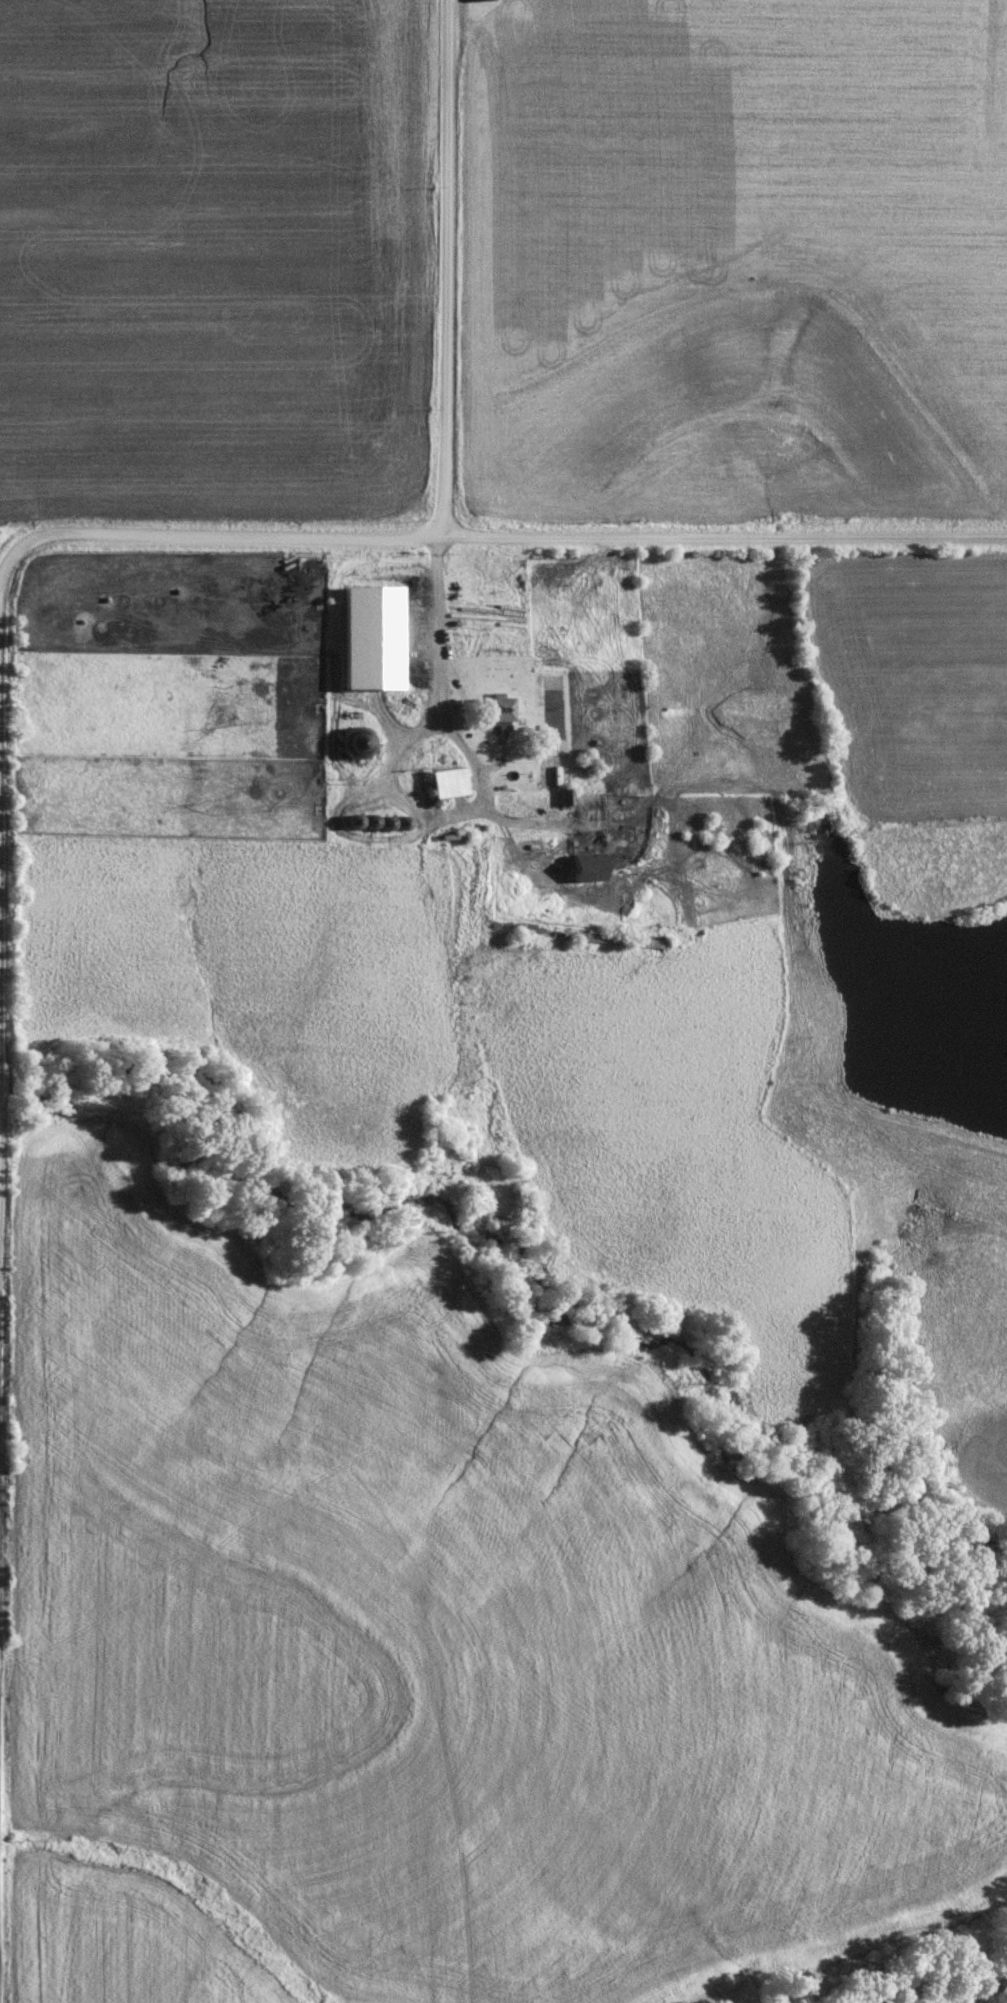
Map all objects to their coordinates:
road: (447, 267)
road: (534, 534)
road: (21, 544)
road: (438, 624)
building: (372, 637)
building: (499, 712)
building: (448, 782)
building: (588, 867)

